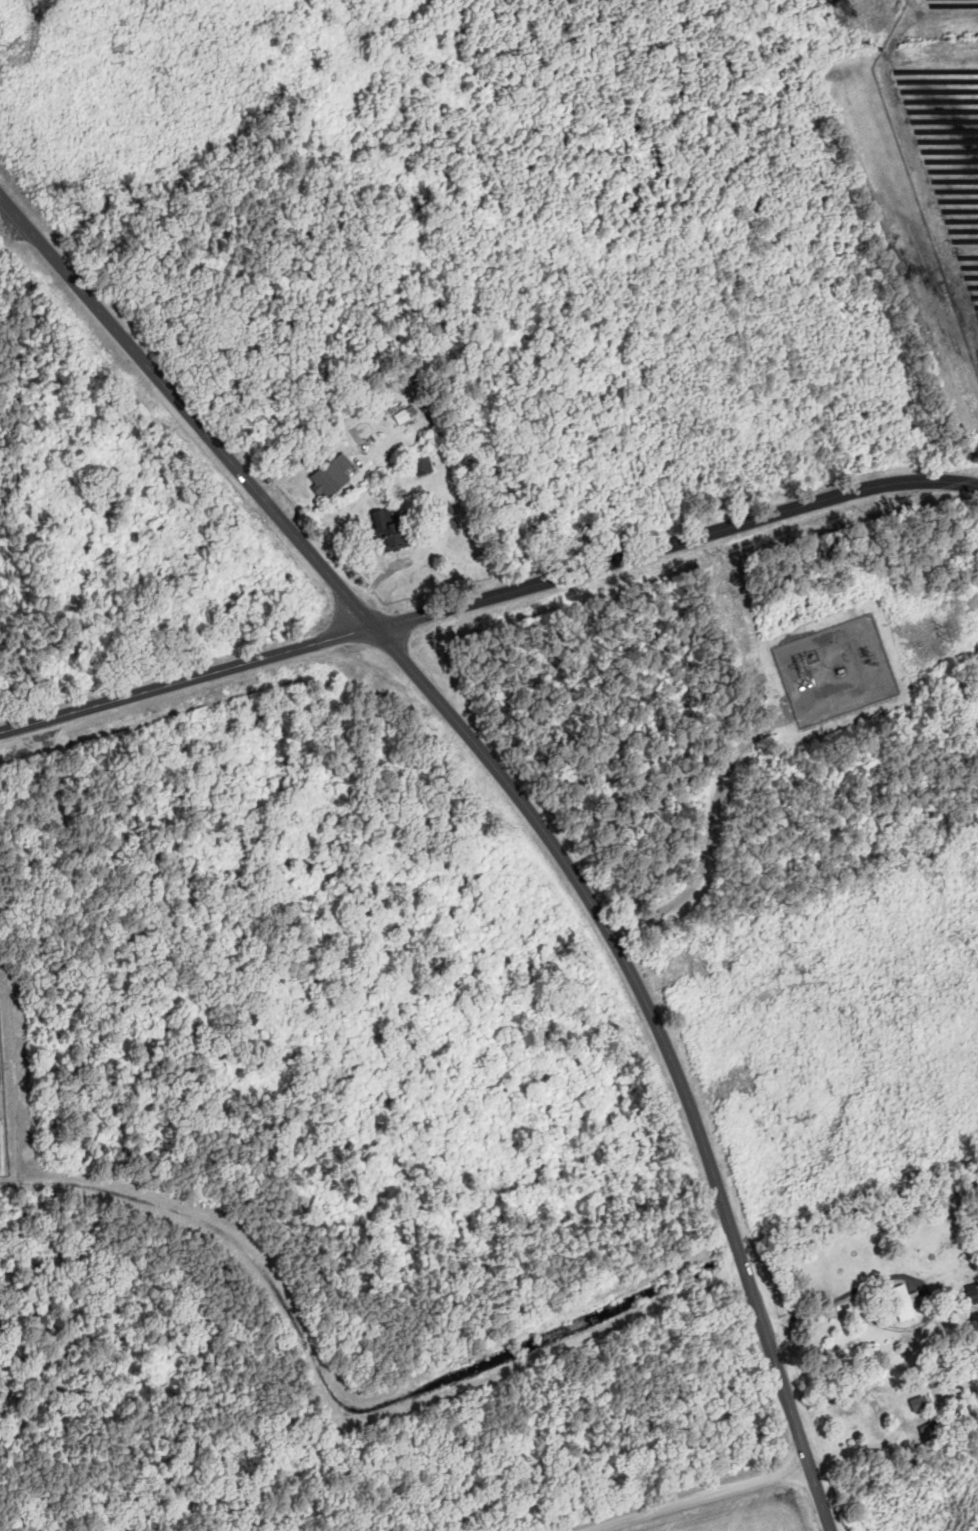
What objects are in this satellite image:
solar farm: (940, 134)
building: (407, 416)
building: (336, 476)
building: (395, 530)
road: (487, 598)
power tower: (944, 632)
power substation: (836, 671)
road: (520, 800)
building: (974, 1297)
building: (907, 1302)
building: (922, 1404)
building: (874, 1415)
road: (701, 1498)

